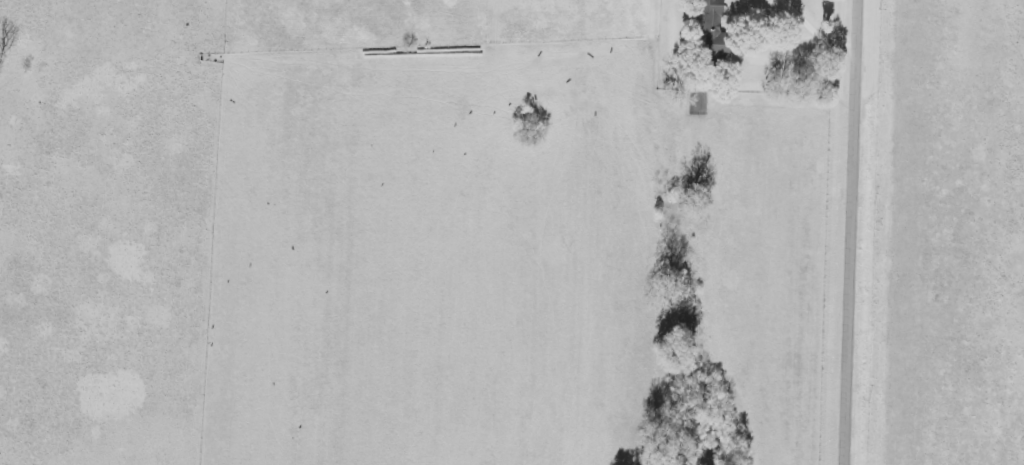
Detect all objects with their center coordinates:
building: (714, 13)
road: (819, 30)
road: (855, 232)

